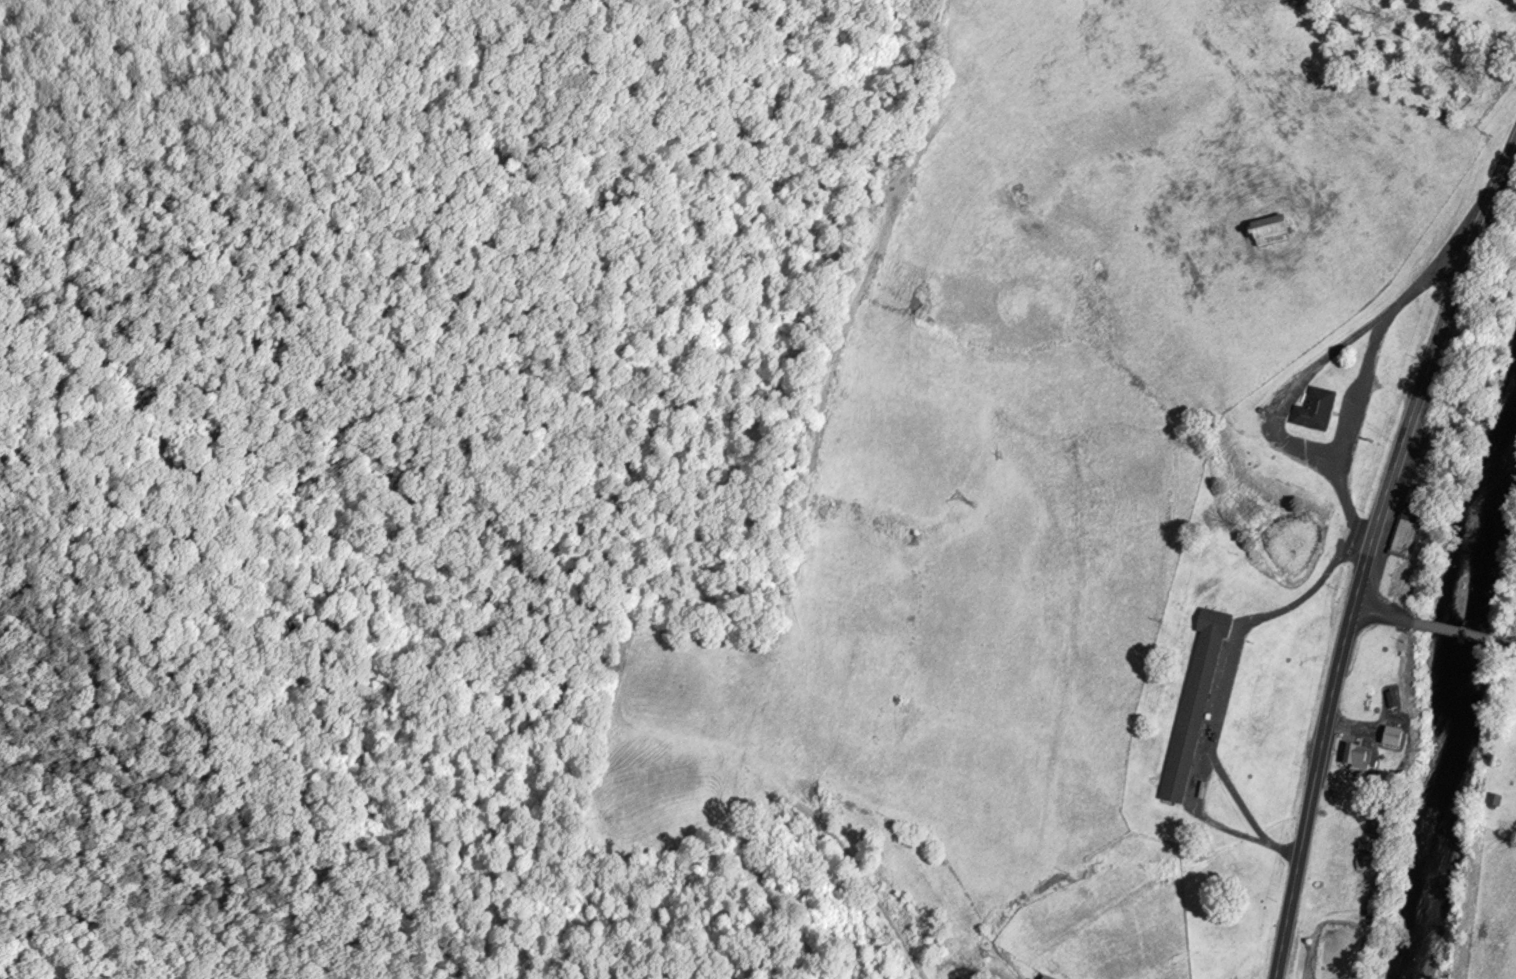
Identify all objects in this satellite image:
building: (1305, 1)
building: (1273, 234)
road: (1361, 376)
road: (1289, 392)
building: (1317, 412)
building: (1410, 534)
road: (1368, 557)
road: (1383, 618)
road: (1454, 635)
road: (1505, 647)
road: (1224, 681)
building: (1396, 690)
building: (1396, 700)
building: (1196, 705)
river: (1462, 712)
building: (1402, 728)
building: (1398, 738)
building: (1357, 758)
building: (1496, 802)
building: (1381, 830)
crop: (1493, 911)
building: (1047, 978)

